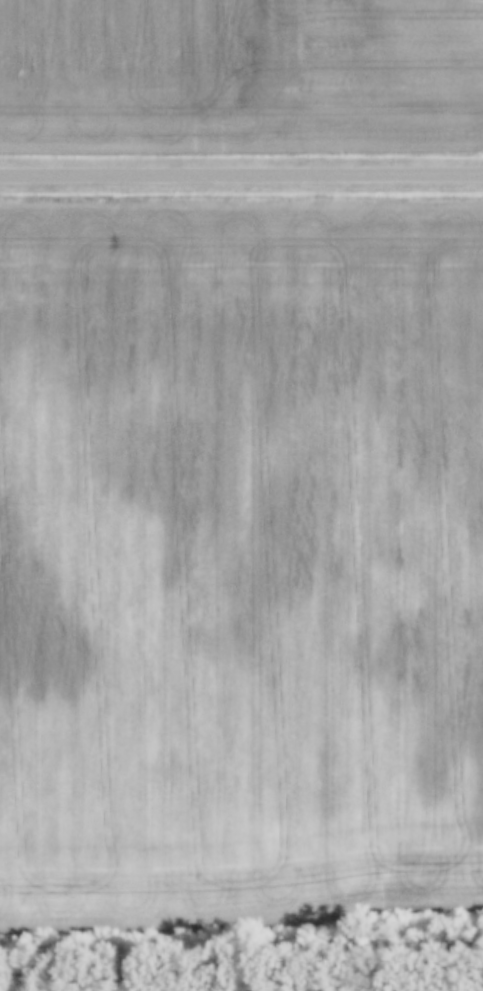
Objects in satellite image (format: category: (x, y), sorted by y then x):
road: (241, 177)

